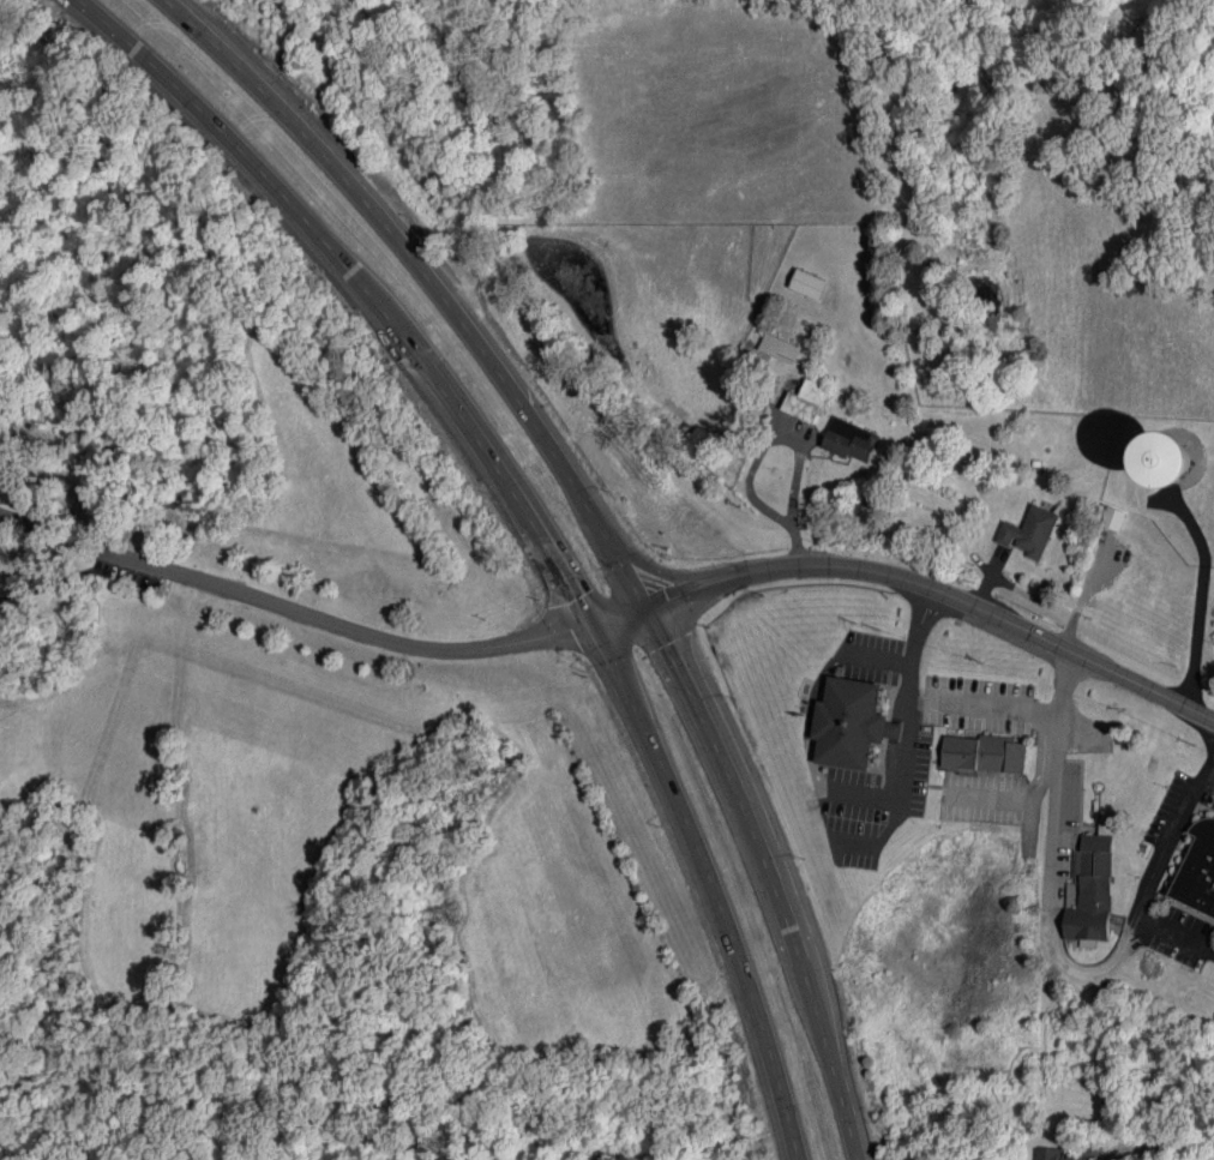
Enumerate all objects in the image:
building: (809, 283)
building: (780, 348)
building: (806, 401)
road: (791, 434)
building: (849, 439)
building: (1173, 459)
water tower: (1170, 463)
building: (1112, 517)
road: (530, 522)
road: (1188, 525)
road: (599, 529)
building: (1029, 531)
parking lot: (128, 576)
road: (61, 582)
road: (910, 582)
road: (292, 607)
road: (1190, 635)
road: (879, 650)
road: (985, 703)
road: (907, 722)
building: (851, 723)
building: (984, 753)
road: (1210, 777)
road: (1033, 788)
building: (1197, 869)
building: (1090, 891)
road: (1171, 932)
road: (1056, 945)
road: (1150, 1147)
building: (1047, 1154)

